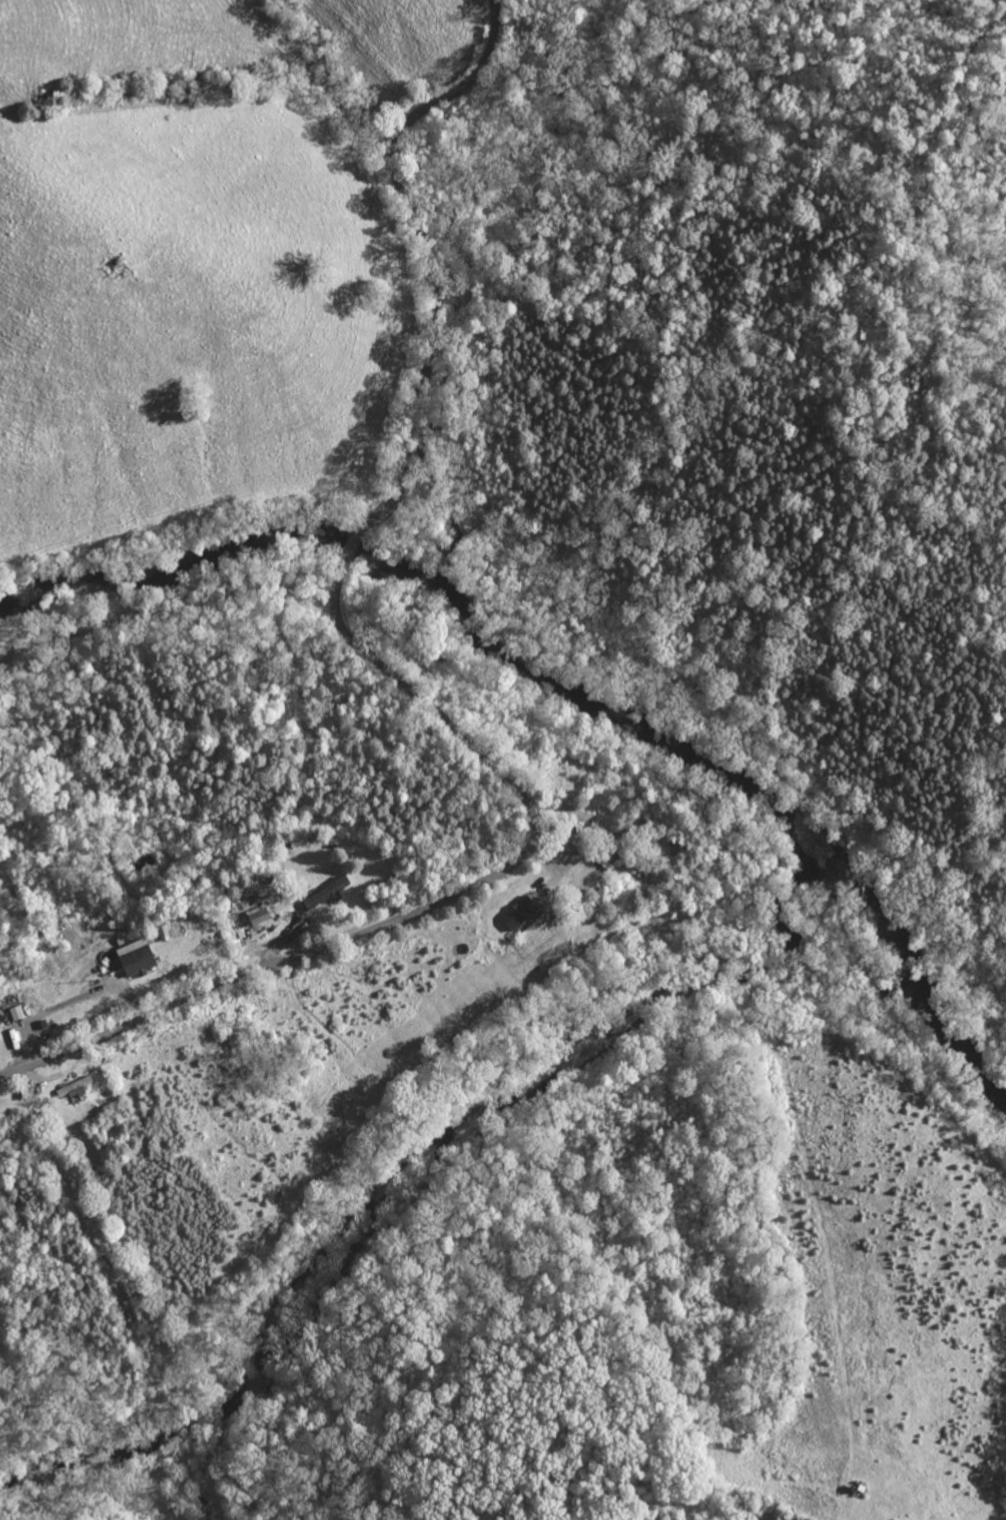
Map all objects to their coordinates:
road: (422, 249)
road: (350, 551)
building: (321, 895)
road: (437, 901)
building: (515, 913)
building: (254, 916)
building: (131, 958)
road: (70, 1001)
building: (14, 1013)
road: (61, 1073)

